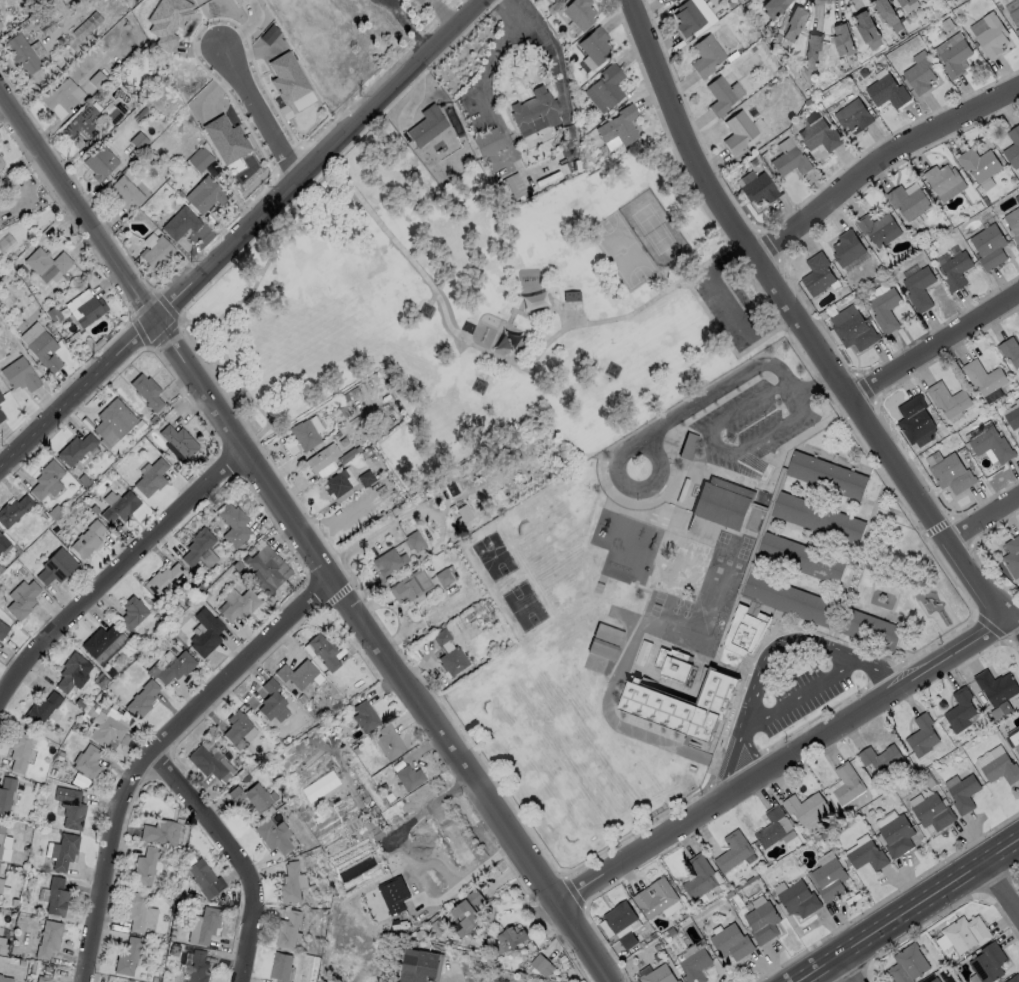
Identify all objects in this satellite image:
building: (553, 0)
building: (670, 0)
building: (239, 1)
building: (177, 2)
building: (905, 2)
building: (152, 7)
building: (771, 7)
building: (885, 11)
building: (578, 12)
road: (443, 16)
building: (687, 17)
building: (77, 19)
building: (1015, 19)
building: (791, 22)
building: (0, 24)
road: (409, 26)
building: (866, 27)
building: (992, 35)
building: (843, 39)
road: (547, 45)
building: (594, 45)
building: (811, 50)
building: (20, 52)
building: (705, 55)
building: (954, 57)
building: (920, 75)
building: (287, 78)
building: (607, 85)
building: (886, 91)
building: (60, 95)
building: (719, 95)
road: (257, 108)
road: (487, 108)
building: (532, 111)
building: (853, 115)
building: (82, 123)
building: (618, 125)
building: (426, 126)
building: (737, 131)
building: (819, 135)
building: (225, 139)
building: (138, 140)
building: (487, 142)
building: (1012, 147)
building: (200, 160)
building: (99, 161)
building: (790, 161)
road: (878, 162)
building: (1, 163)
building: (978, 163)
building: (0, 166)
building: (942, 179)
building: (758, 188)
building: (125, 192)
building: (204, 194)
building: (1017, 198)
building: (907, 202)
building: (180, 223)
building: (1013, 224)
building: (875, 226)
park: (654, 229)
road: (242, 237)
building: (989, 246)
building: (847, 248)
building: (157, 252)
park: (622, 252)
building: (45, 262)
building: (955, 270)
building: (817, 274)
building: (919, 288)
building: (570, 289)
road: (255, 290)
park: (476, 306)
road: (646, 306)
road: (729, 306)
parking lot: (731, 306)
building: (885, 309)
building: (89, 310)
road: (200, 325)
road: (797, 325)
building: (30, 332)
building: (855, 332)
road: (731, 346)
road: (932, 346)
building: (1010, 350)
building: (43, 351)
building: (19, 375)
road: (214, 375)
building: (982, 377)
road: (728, 383)
building: (146, 391)
building: (0, 399)
building: (948, 399)
building: (1, 417)
building: (1012, 417)
building: (914, 418)
building: (112, 421)
building: (304, 435)
building: (177, 443)
building: (991, 444)
road: (722, 447)
building: (690, 448)
building: (75, 449)
building: (322, 457)
building: (951, 473)
building: (829, 477)
building: (44, 478)
building: (150, 478)
building: (336, 484)
building: (722, 504)
building: (118, 505)
road: (424, 509)
building: (13, 510)
building: (820, 519)
road: (983, 520)
building: (233, 525)
road: (301, 537)
building: (87, 539)
building: (414, 541)
building: (3, 542)
road: (358, 542)
building: (196, 545)
building: (1013, 557)
building: (803, 559)
building: (388, 562)
building: (55, 566)
road: (116, 570)
building: (264, 574)
building: (445, 575)
building: (163, 578)
building: (410, 586)
building: (21, 598)
building: (791, 600)
building: (240, 606)
building: (131, 613)
road: (1016, 620)
building: (2, 630)
building: (469, 631)
building: (872, 631)
building: (745, 632)
building: (205, 633)
building: (605, 641)
building: (103, 643)
building: (324, 651)
road: (767, 652)
building: (452, 661)
building: (673, 665)
building: (175, 667)
building: (70, 671)
building: (297, 673)
building: (997, 687)
road: (797, 693)
building: (271, 699)
building: (141, 700)
building: (681, 706)
building: (44, 709)
building: (959, 710)
building: (94, 714)
building: (364, 716)
building: (236, 726)
building: (109, 731)
building: (921, 735)
building: (388, 742)
building: (1017, 748)
building: (20, 750)
road: (157, 752)
road: (785, 758)
building: (880, 758)
building: (87, 762)
building: (206, 762)
building: (1002, 770)
building: (408, 777)
building: (846, 782)
building: (6, 793)
building: (963, 793)
building: (250, 796)
building: (804, 806)
building: (72, 811)
building: (933, 812)
building: (772, 826)
building: (158, 832)
building: (273, 835)
building: (896, 835)
building: (4, 843)
building: (733, 849)
building: (62, 851)
road: (244, 855)
building: (866, 855)
crop: (389, 865)
building: (144, 866)
road: (471, 875)
building: (698, 876)
building: (201, 878)
building: (828, 879)
building: (290, 883)
building: (1, 884)
road: (1001, 886)
building: (394, 892)
building: (55, 897)
building: (654, 897)
building: (797, 899)
road: (906, 909)
building: (136, 911)
building: (464, 912)
building: (619, 916)
building: (761, 922)
building: (207, 925)
building: (289, 929)
building: (964, 933)
building: (510, 936)
building: (47, 939)
building: (730, 942)
building: (942, 942)
building: (126, 956)
building: (987, 962)
building: (907, 964)
building: (419, 965)
building: (541, 965)
building: (694, 965)
building: (196, 967)
building: (280, 967)
road: (846, 968)
building: (0, 974)
building: (657, 975)
building: (5, 979)
building: (42, 979)
building: (1014, 979)
building: (933, 980)

